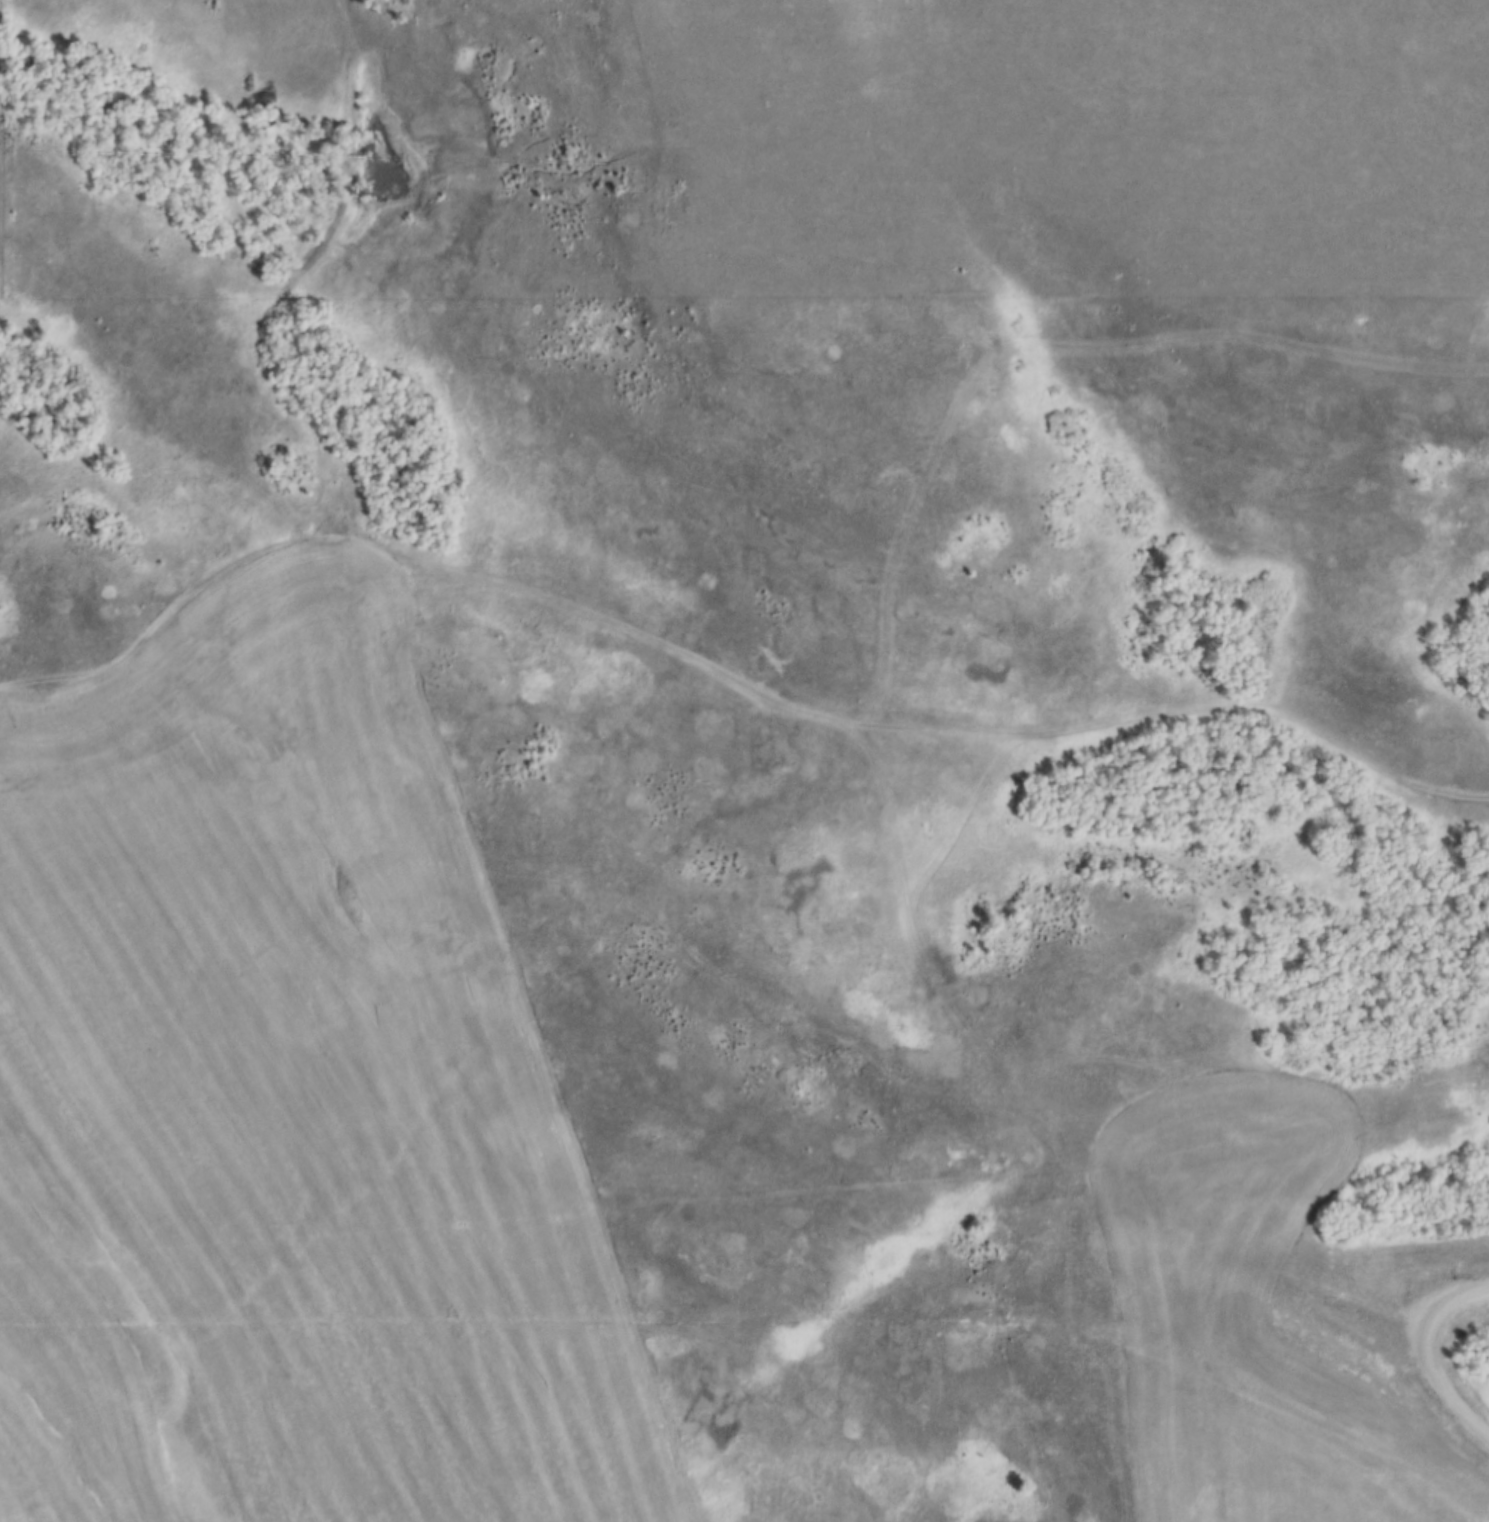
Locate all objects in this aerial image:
road: (725, 672)
road: (1433, 1354)

